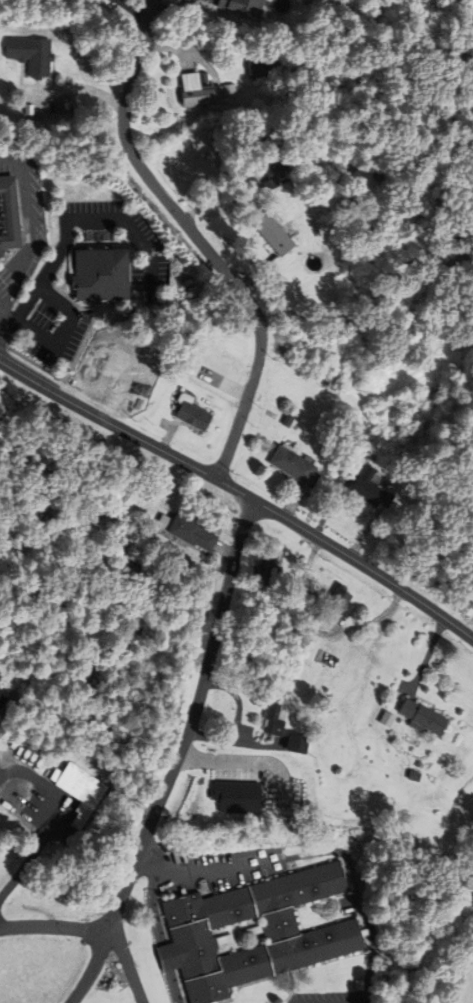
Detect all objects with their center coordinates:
building: (242, 7)
building: (32, 56)
building: (256, 70)
building: (196, 92)
road: (13, 157)
building: (276, 178)
building: (9, 215)
road: (71, 217)
building: (276, 237)
road: (197, 239)
road: (31, 249)
building: (101, 276)
road: (66, 334)
building: (330, 375)
building: (431, 395)
building: (194, 417)
building: (294, 464)
road: (240, 494)
building: (189, 529)
building: (274, 563)
building: (263, 591)
building: (342, 599)
building: (334, 659)
airport: (6, 665)
building: (3, 697)
building: (424, 715)
building: (275, 718)
road: (237, 719)
building: (299, 742)
building: (339, 744)
road: (177, 758)
road: (244, 761)
building: (79, 791)
building: (238, 796)
building: (354, 800)
road: (33, 852)
road: (203, 872)
road: (52, 926)
building: (253, 932)
road: (132, 959)

